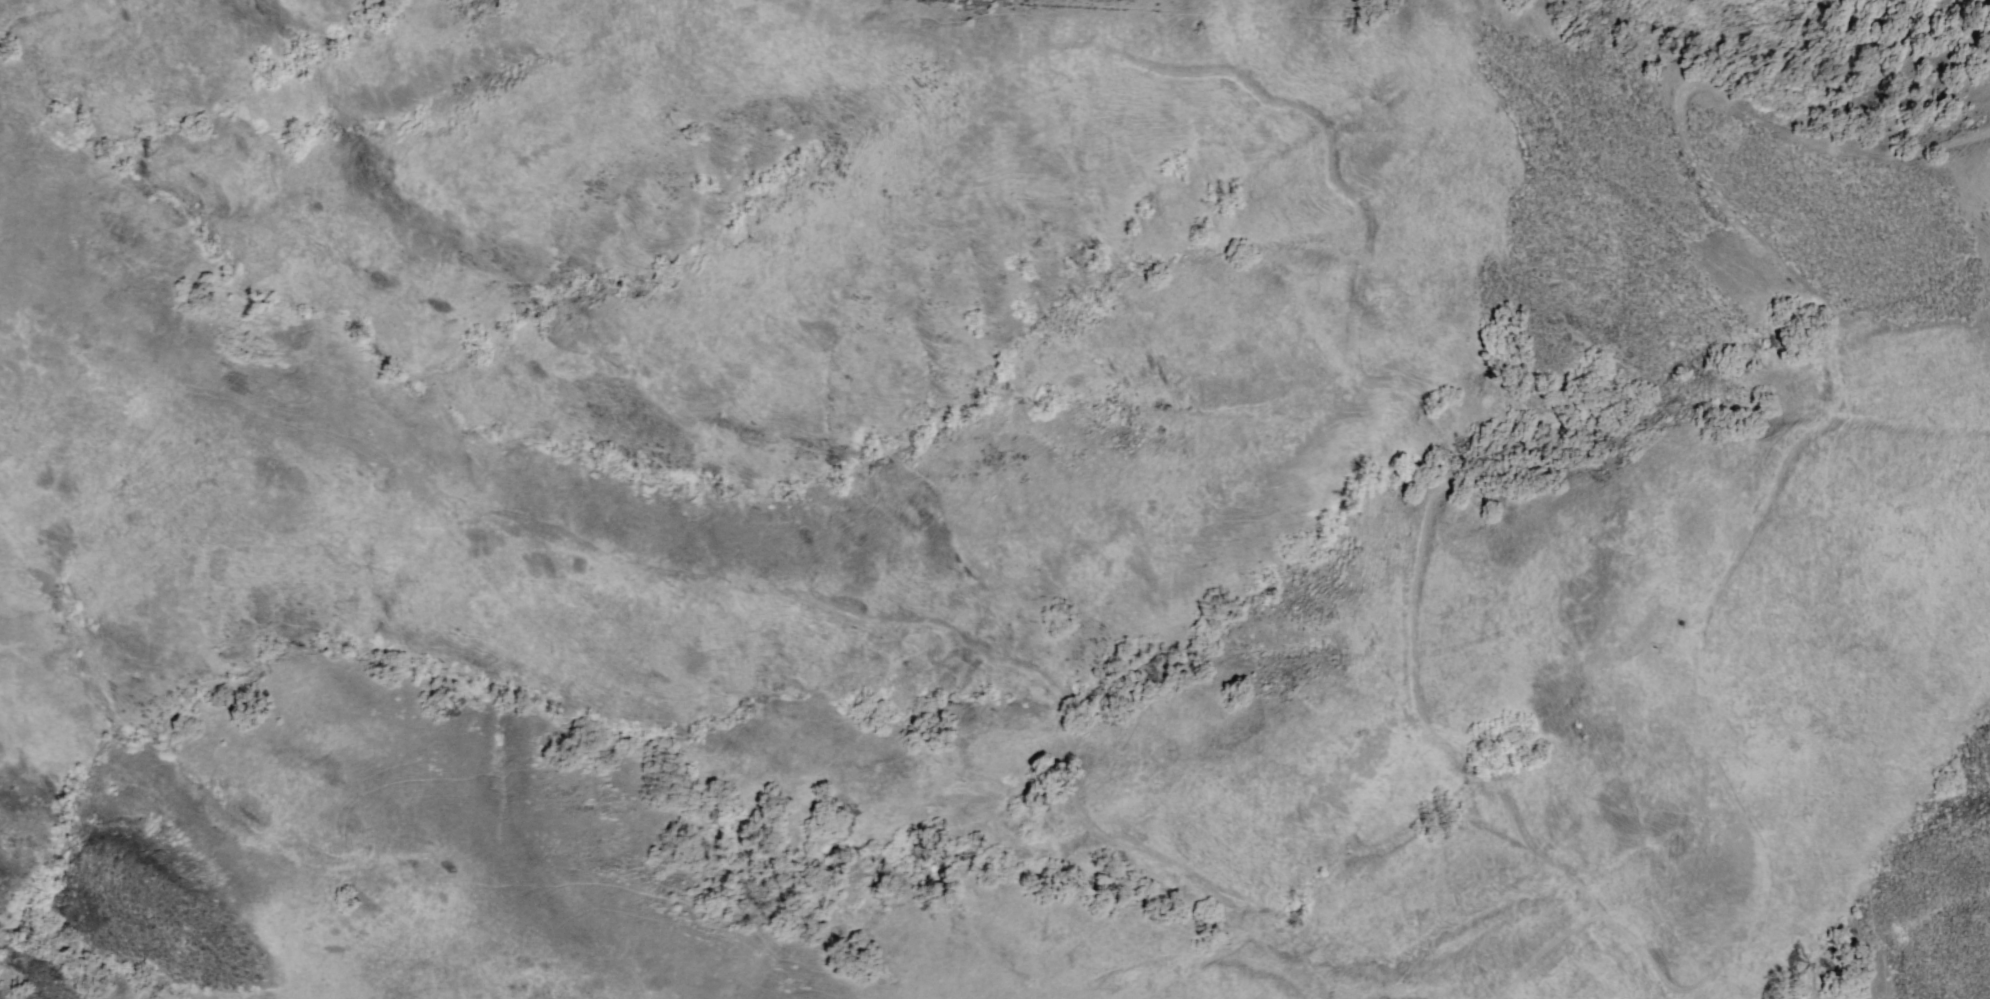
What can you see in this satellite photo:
road: (1355, 323)
road: (1767, 492)

